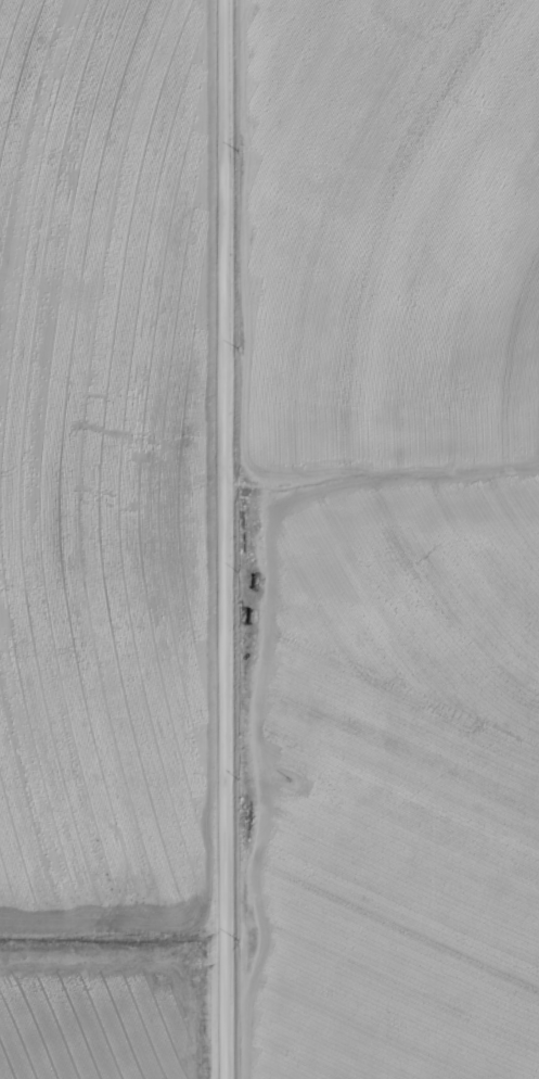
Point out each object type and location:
road: (218, 539)

